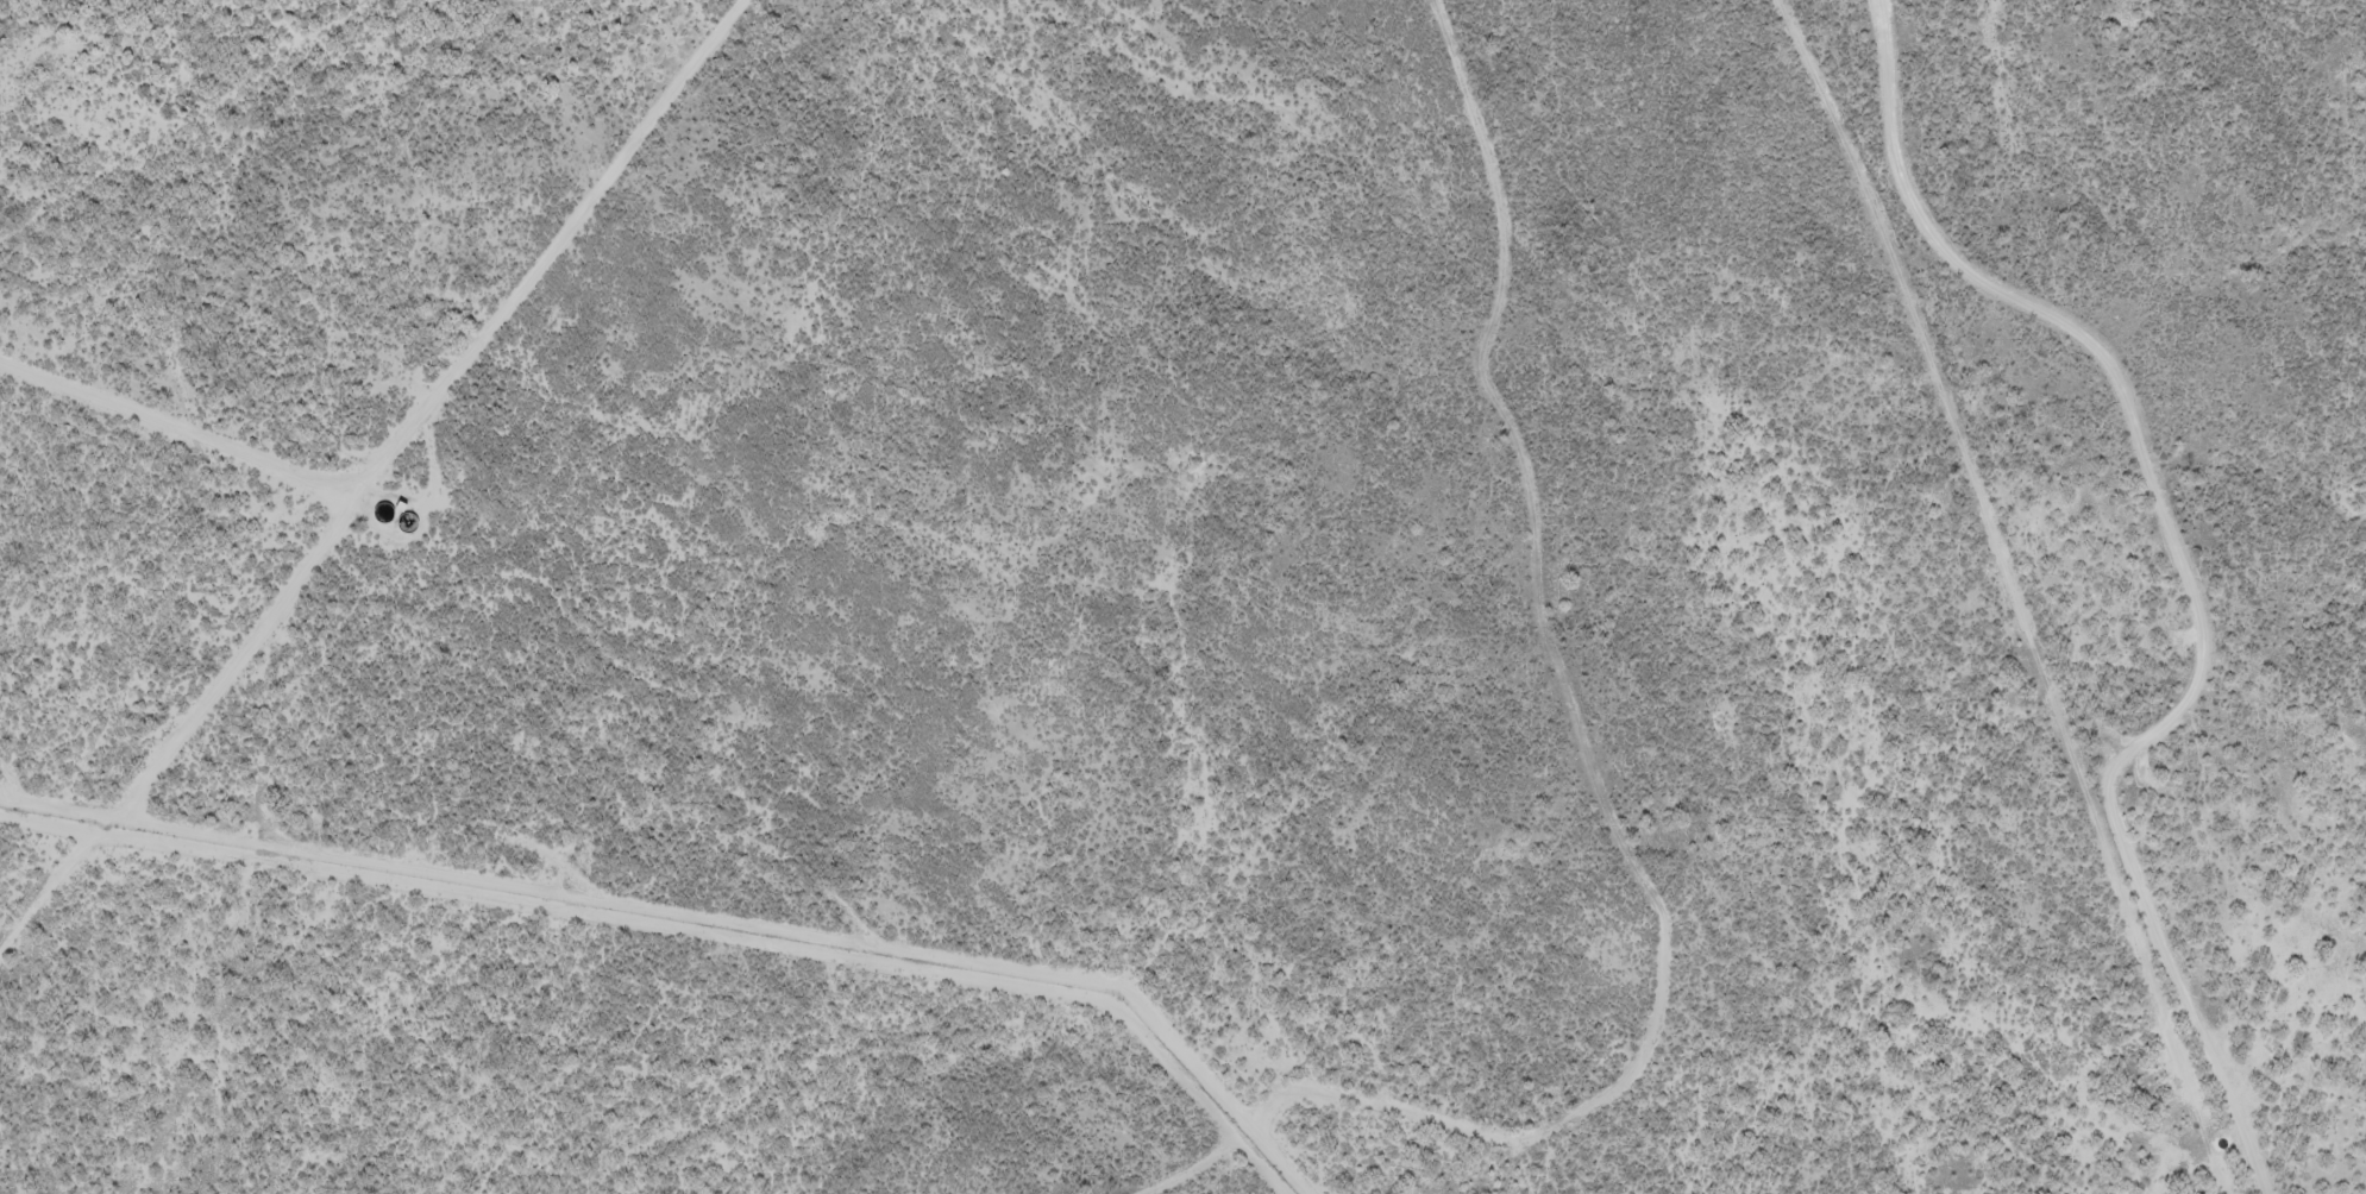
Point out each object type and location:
road: (2165, 573)
road: (691, 929)

